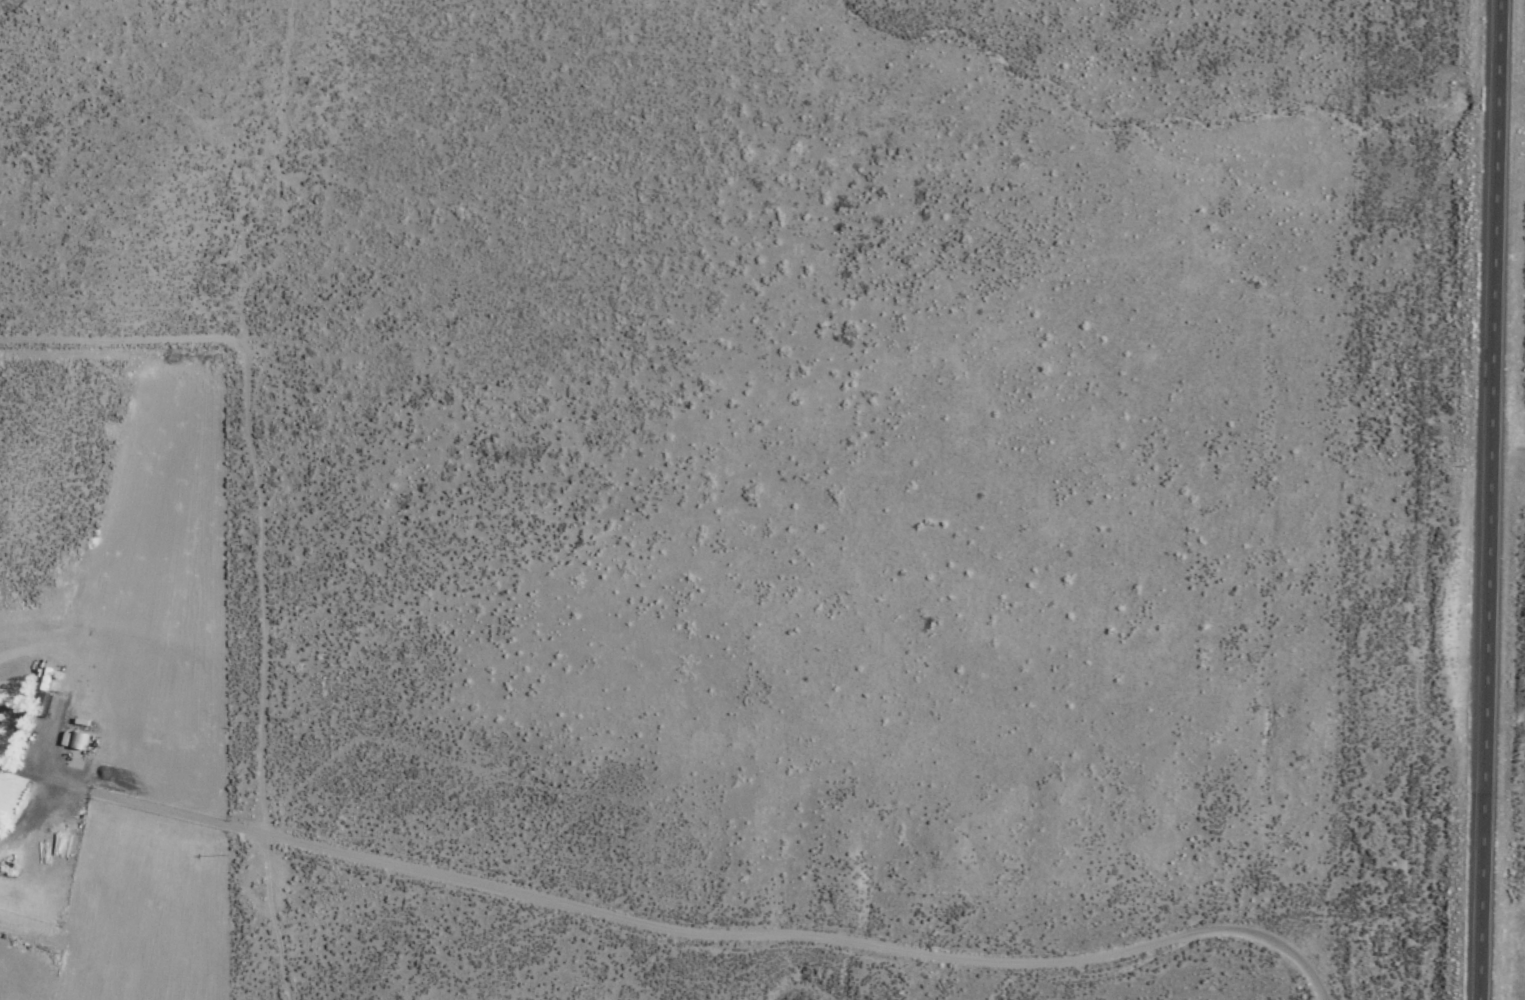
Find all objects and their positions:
crop: (1349, 45)
road: (1494, 500)
crop: (1373, 909)
road: (656, 955)

